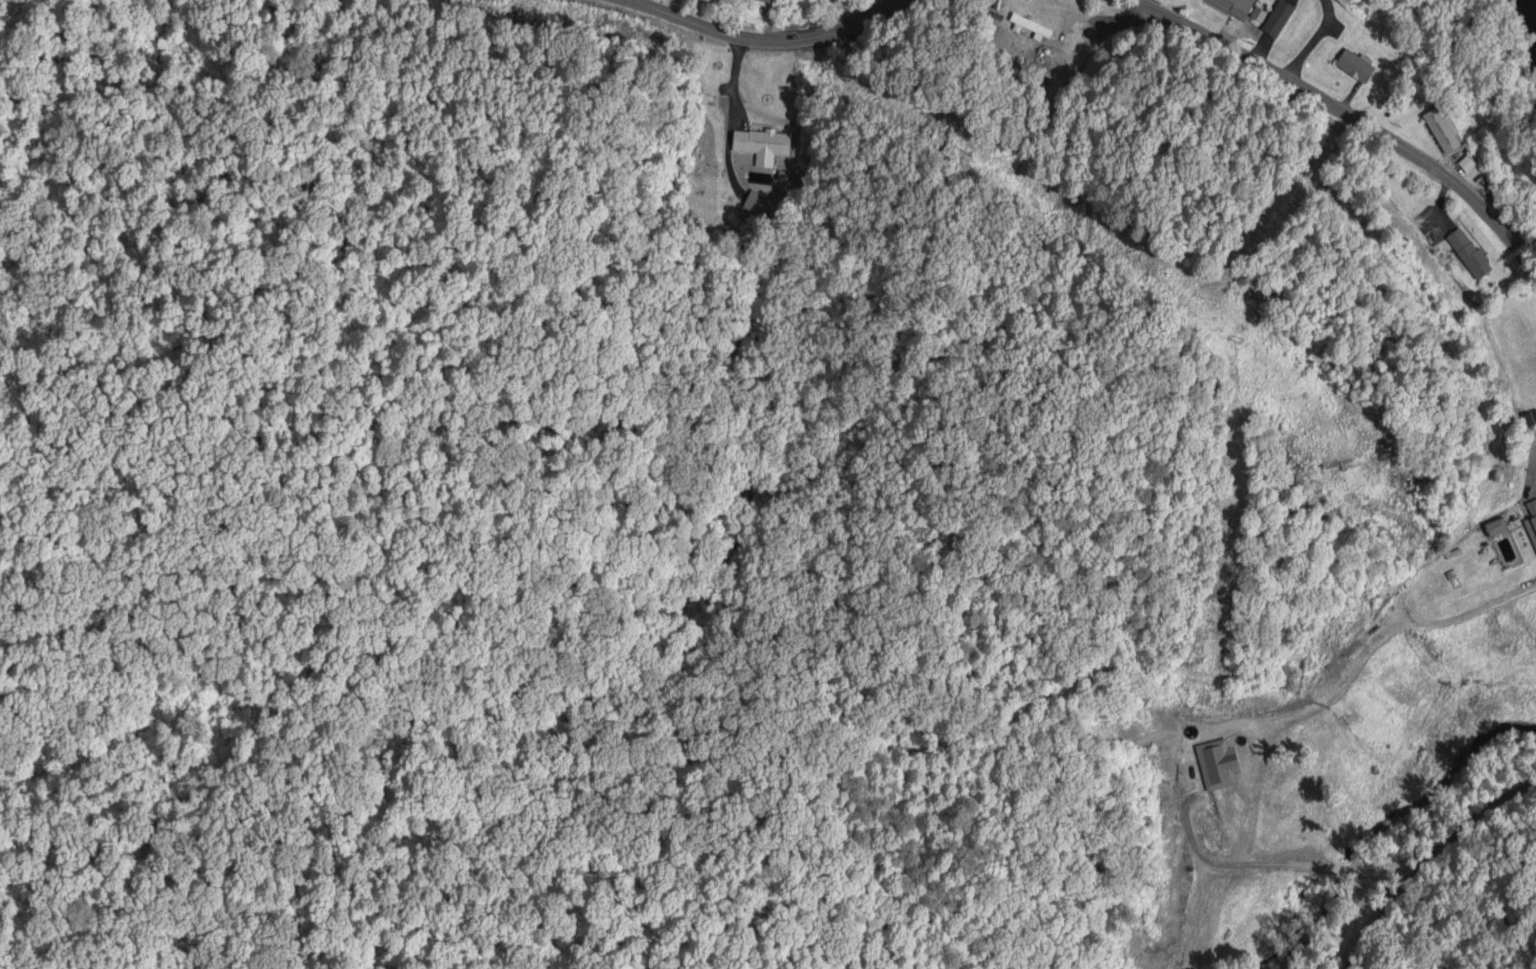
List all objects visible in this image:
building: (723, 1)
building: (1233, 6)
building: (1277, 19)
building: (1032, 26)
road: (768, 40)
building: (1354, 65)
road: (1347, 116)
building: (1440, 130)
building: (766, 144)
building: (1464, 164)
building: (1470, 253)
building: (1531, 521)
building: (1215, 764)
road: (1422, 877)

